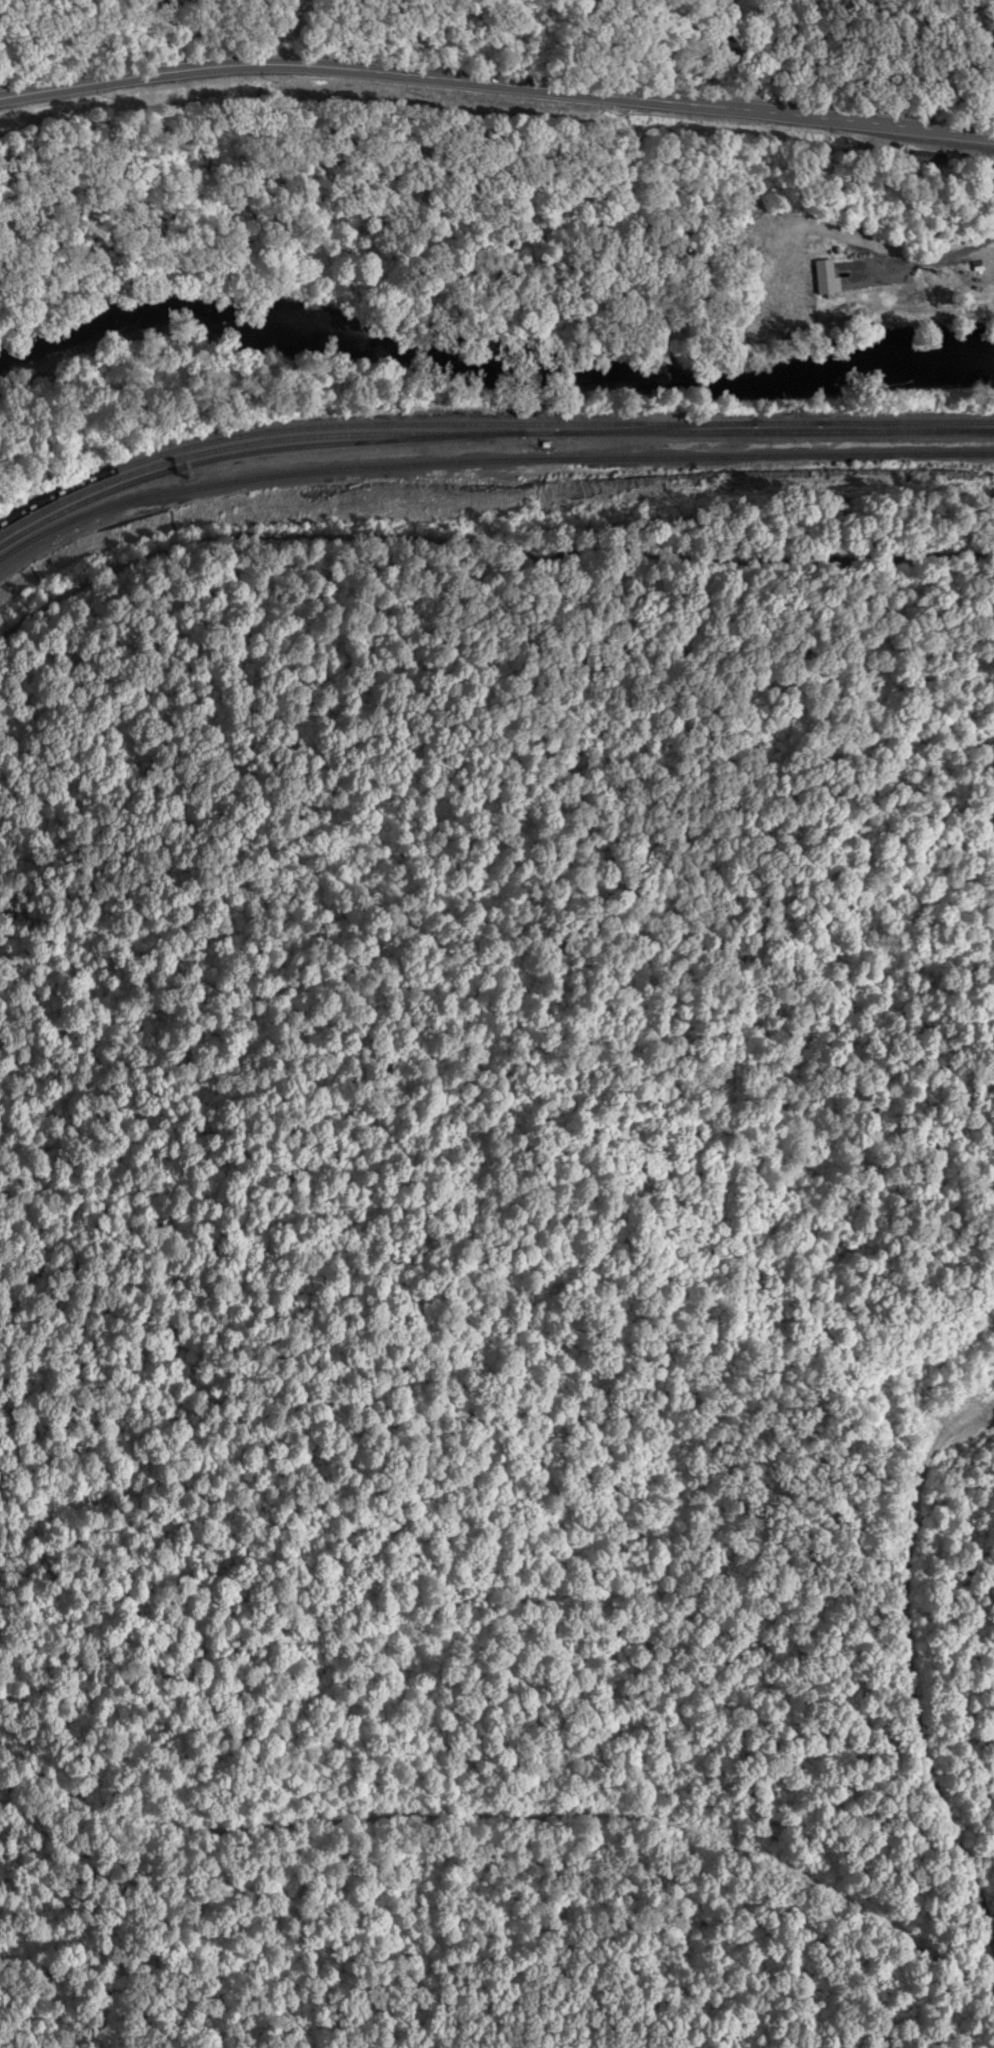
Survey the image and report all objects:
road: (496, 84)
river: (491, 352)
railway: (488, 422)
railway: (340, 436)
railway: (488, 437)

